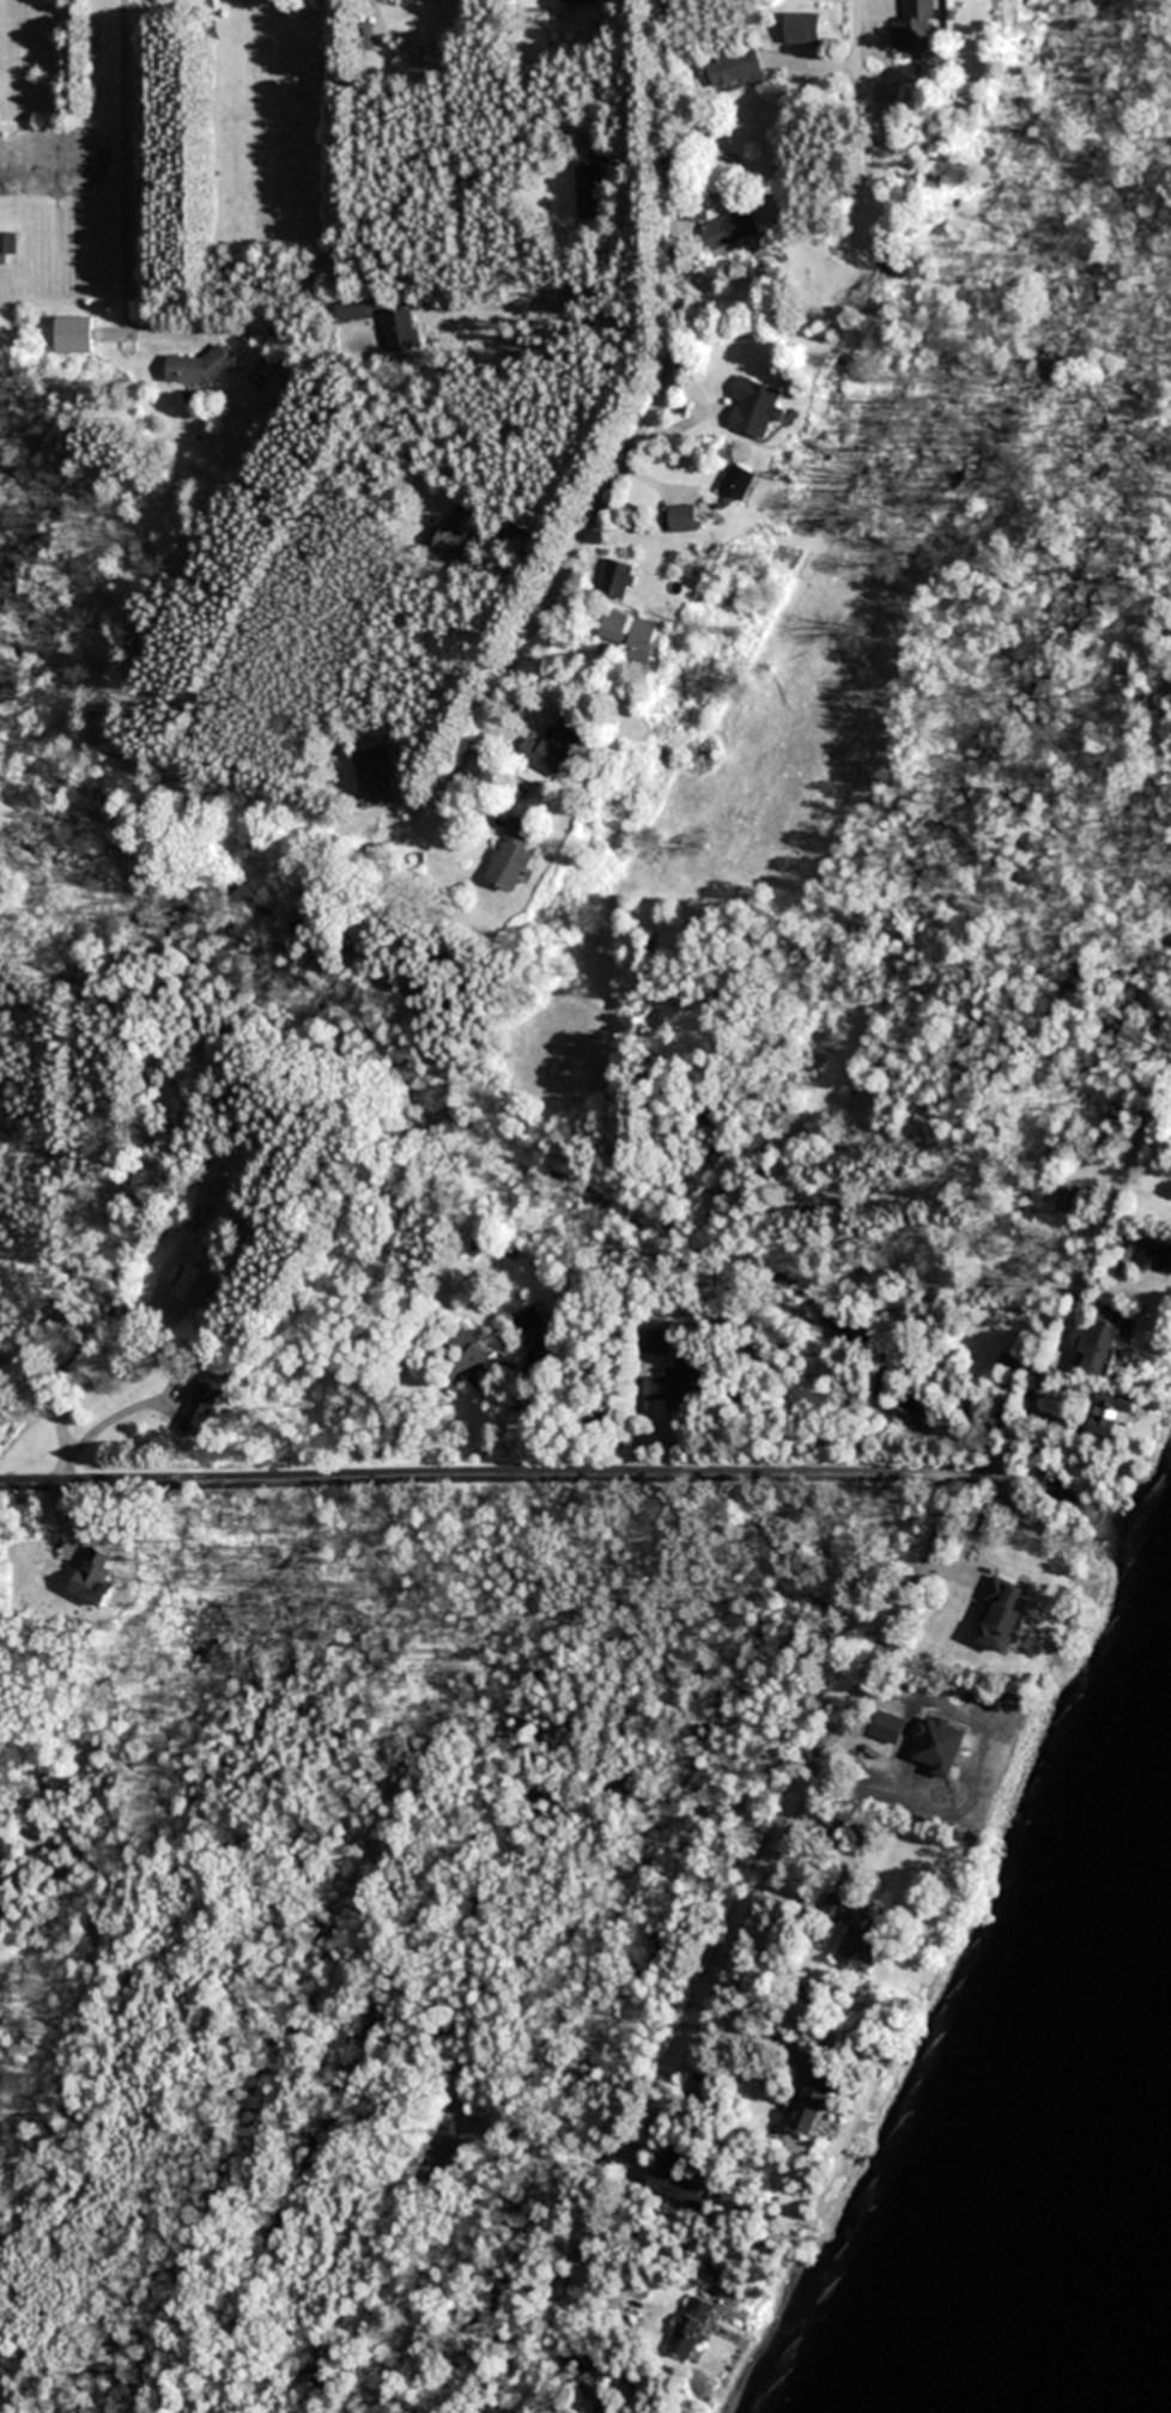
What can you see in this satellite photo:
building: (578, 0)
building: (918, 25)
road: (857, 34)
building: (738, 67)
building: (698, 208)
building: (732, 228)
building: (8, 244)
building: (354, 307)
building: (400, 327)
building: (75, 333)
building: (200, 366)
building: (757, 406)
road: (637, 437)
building: (741, 480)
building: (690, 517)
building: (457, 533)
building: (627, 581)
building: (617, 625)
building: (647, 641)
building: (558, 747)
building: (375, 776)
building: (518, 851)
building: (814, 1056)
building: (1157, 1255)
building: (199, 1286)
road: (1082, 1286)
building: (527, 1322)
building: (1105, 1345)
building: (468, 1350)
building: (674, 1380)
building: (208, 1399)
building: (1114, 1413)
road: (481, 1474)
road: (996, 1475)
building: (1046, 1560)
road: (771, 1872)
building: (856, 1934)
building: (815, 2099)
building: (681, 2189)
building: (690, 2328)

